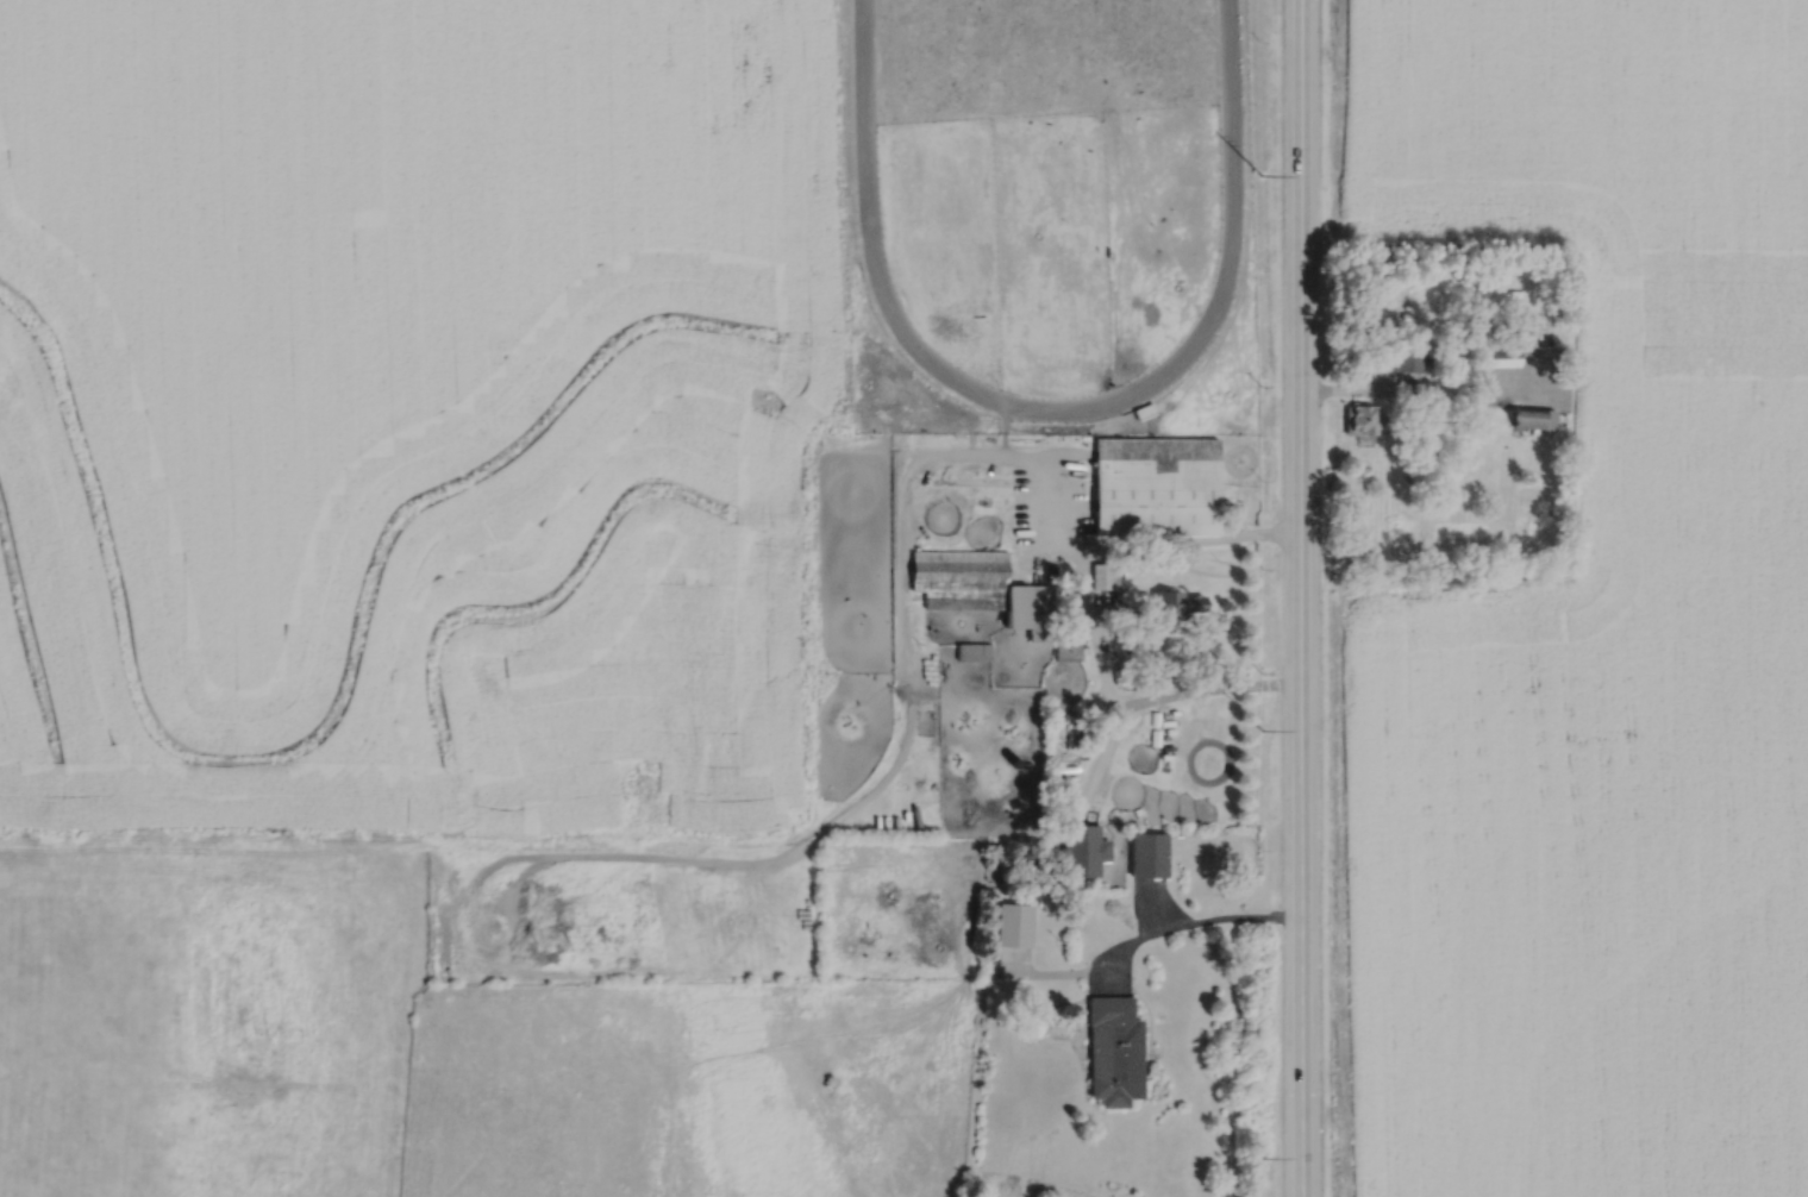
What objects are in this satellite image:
power tower: (1259, 175)
building: (1500, 357)
building: (1407, 362)
building: (1527, 418)
building: (1363, 420)
building: (1151, 485)
building: (1102, 576)
building: (978, 589)
road: (1299, 597)
building: (1171, 606)
road: (1089, 614)
building: (1064, 651)
building: (970, 653)
power tower: (1259, 732)
building: (1080, 851)
building: (1144, 856)
road: (1183, 923)
building: (1011, 926)
building: (1111, 1052)
power tower: (1259, 1157)

